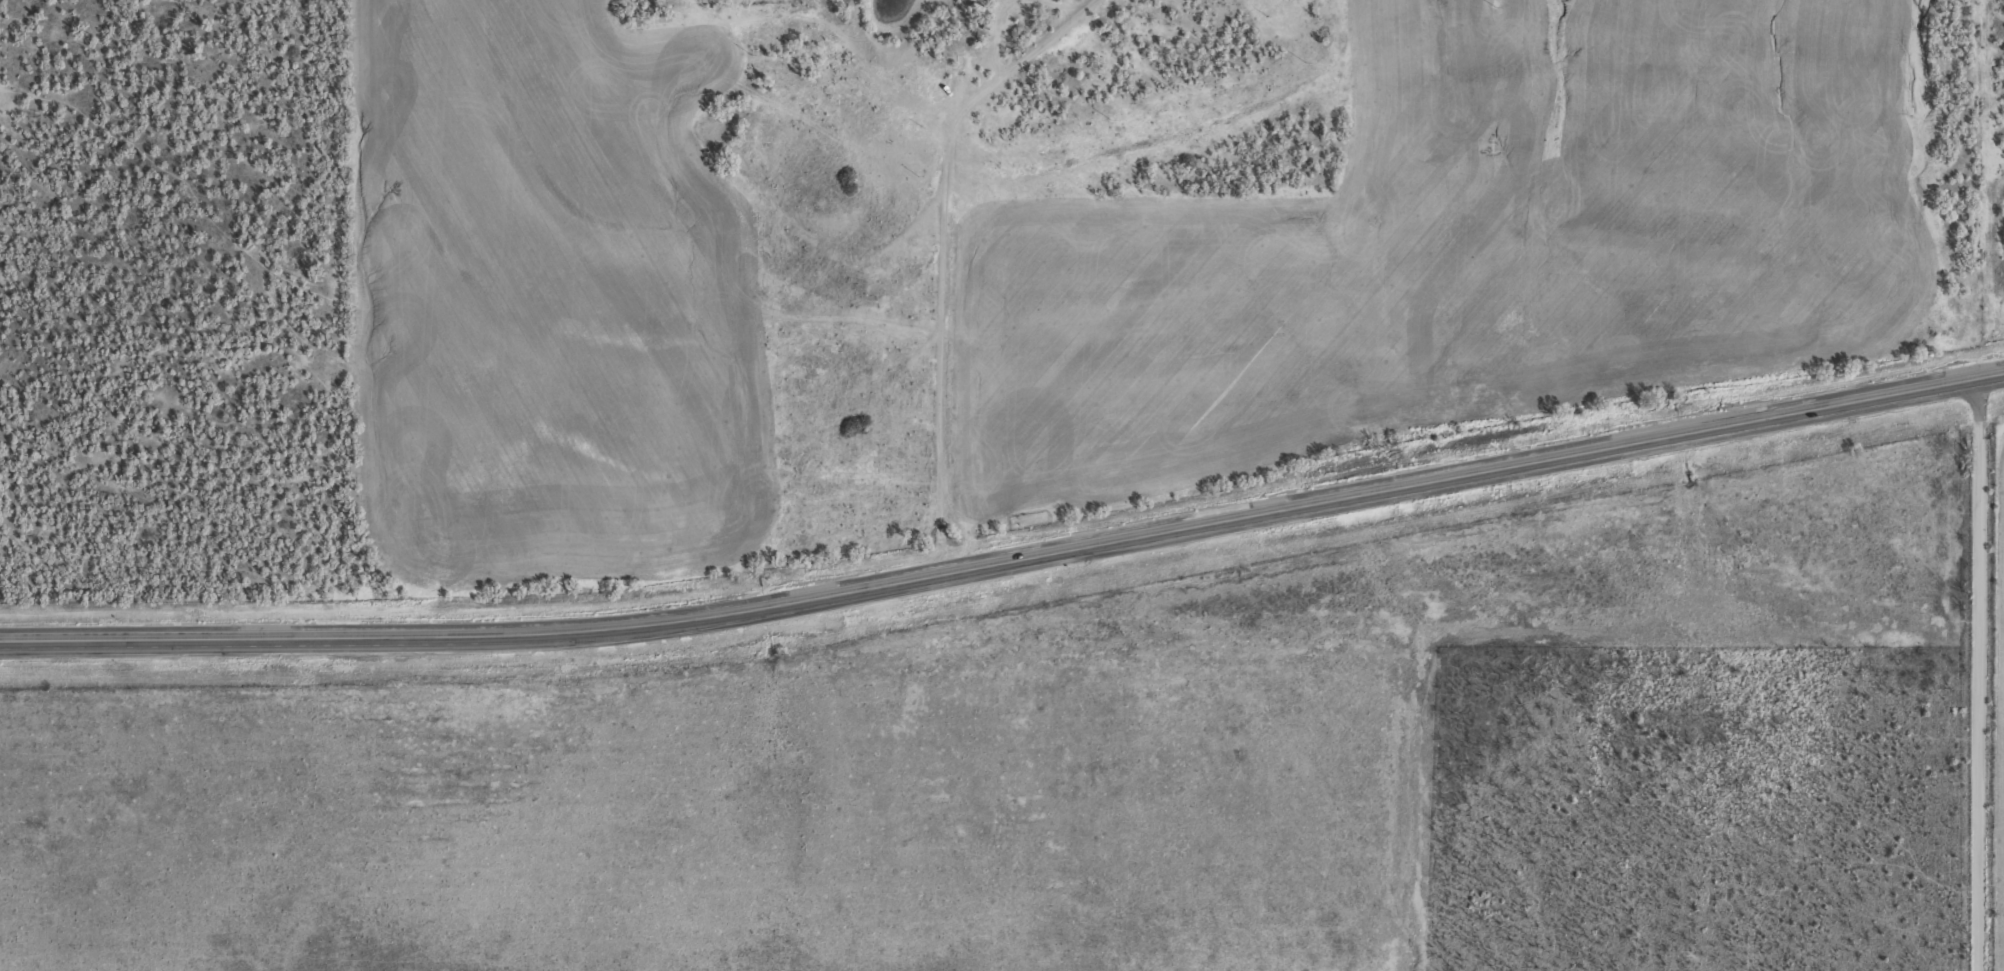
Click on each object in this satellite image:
road: (934, 252)
road: (1242, 511)
road: (240, 638)
road: (1974, 675)

